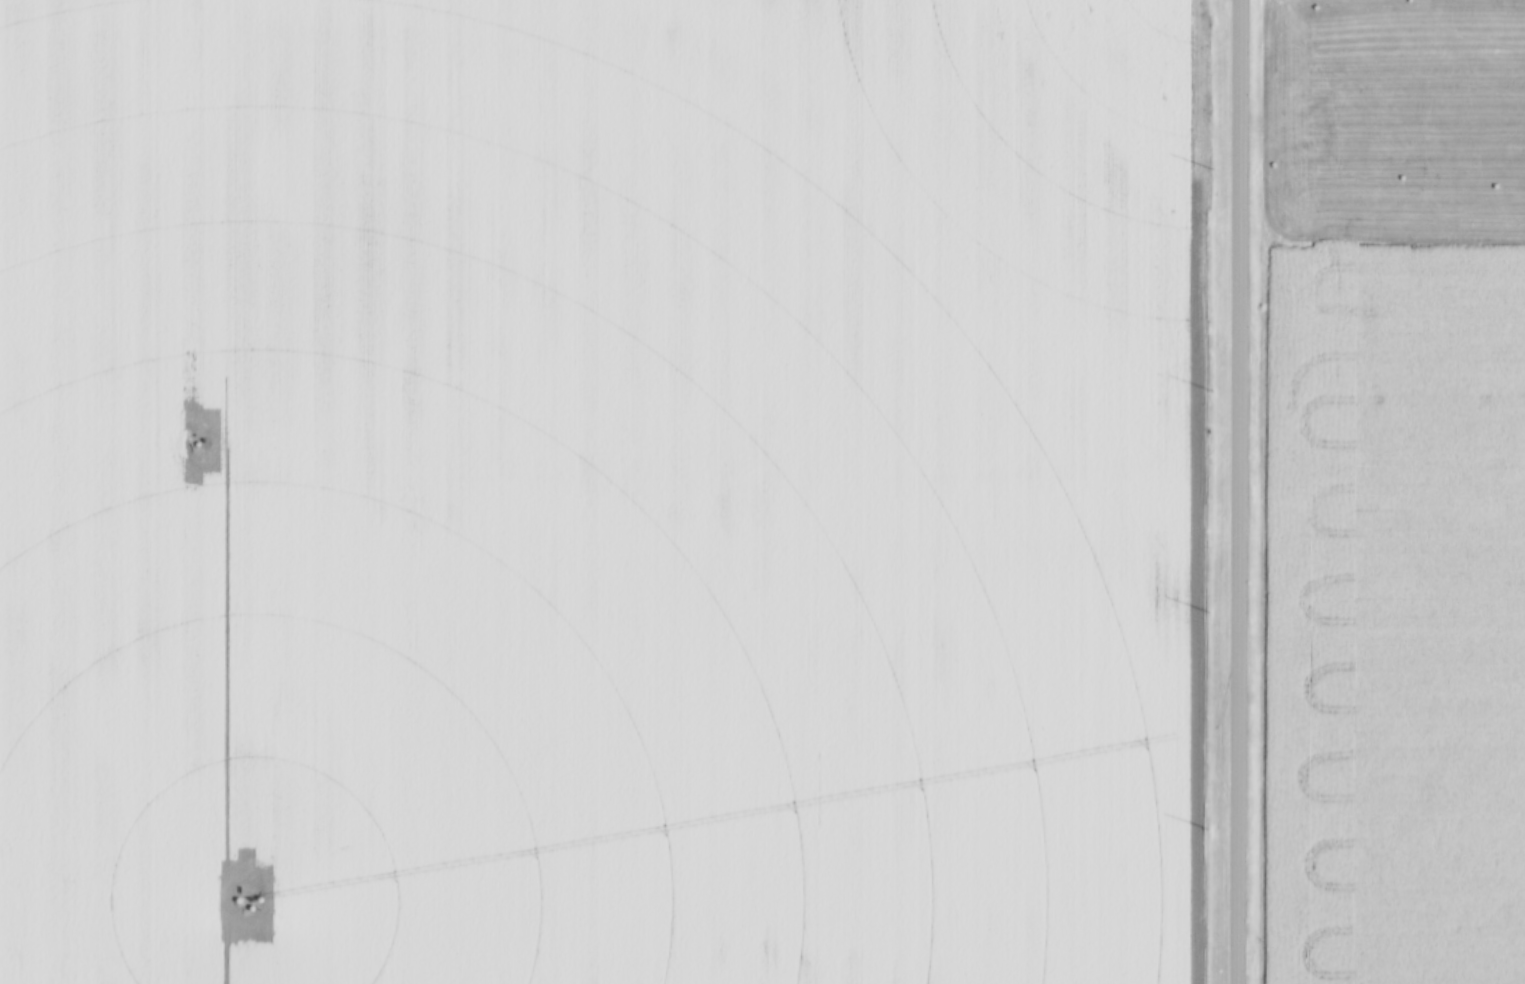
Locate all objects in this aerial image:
road: (1241, 492)

